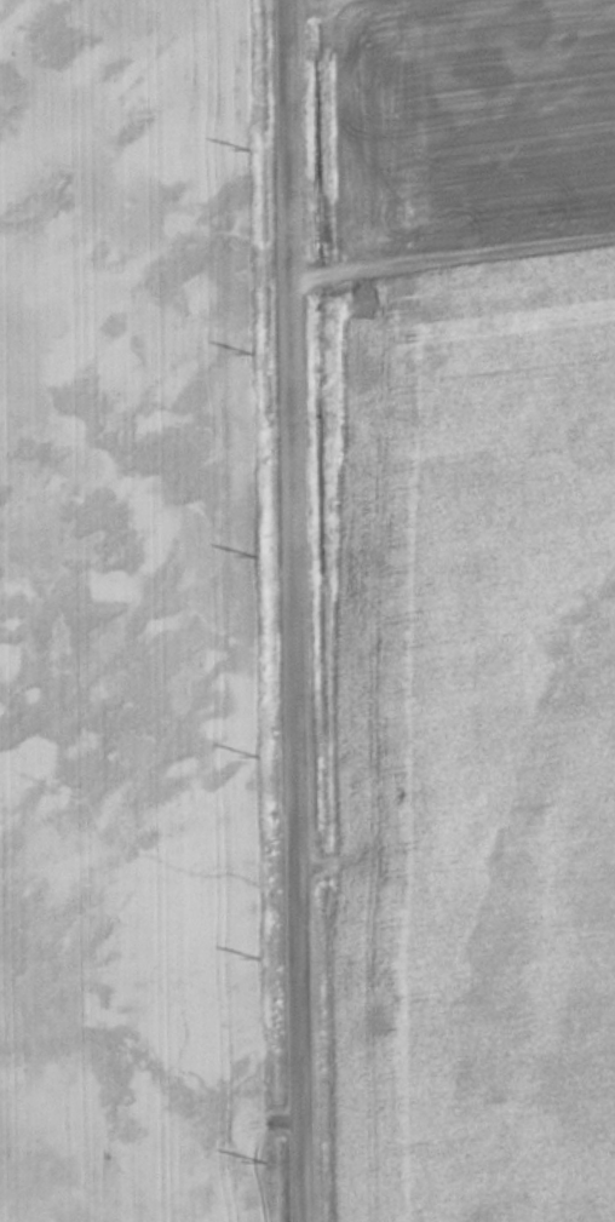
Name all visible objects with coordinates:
road: (297, 610)

